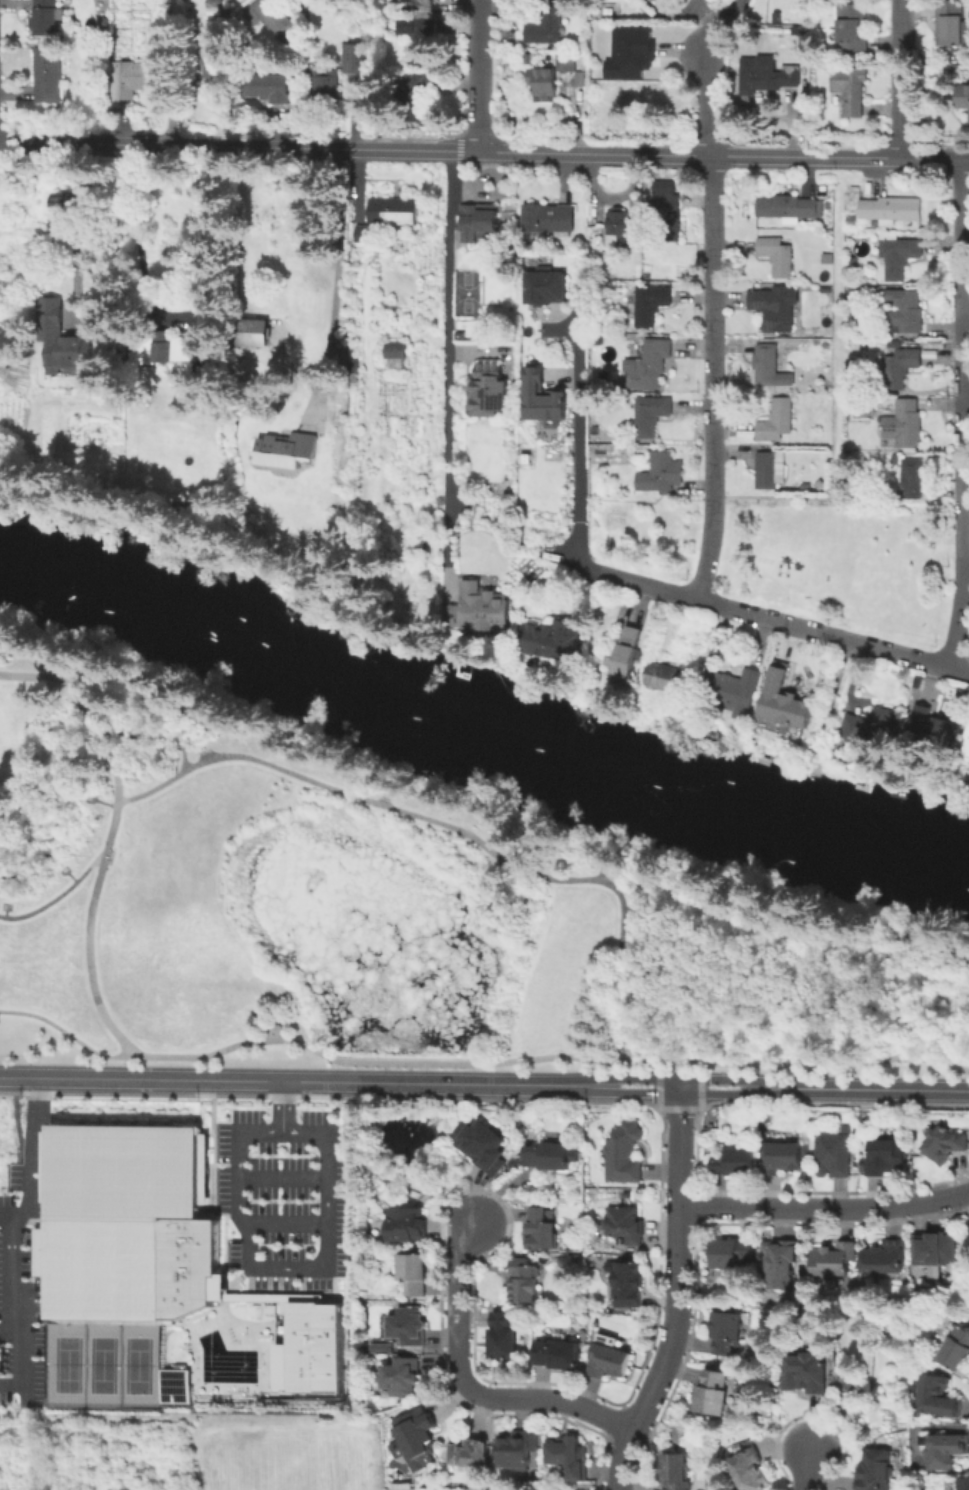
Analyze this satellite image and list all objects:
building: (632, 1)
building: (421, 2)
building: (217, 4)
building: (47, 18)
building: (274, 18)
building: (950, 24)
building: (546, 25)
building: (853, 27)
building: (421, 37)
building: (633, 57)
building: (355, 59)
building: (215, 62)
building: (47, 75)
road: (480, 77)
road: (901, 79)
building: (550, 80)
building: (777, 80)
building: (134, 81)
building: (268, 89)
building: (851, 91)
building: (329, 94)
building: (417, 97)
building: (964, 97)
road: (711, 106)
road: (484, 154)
building: (60, 203)
building: (669, 205)
building: (789, 210)
building: (891, 212)
building: (396, 213)
building: (853, 220)
building: (550, 221)
building: (483, 224)
road: (74, 229)
building: (619, 229)
building: (367, 237)
building: (900, 257)
building: (778, 258)
building: (853, 265)
road: (340, 280)
building: (548, 288)
building: (854, 296)
building: (651, 306)
building: (779, 310)
building: (906, 312)
building: (210, 320)
building: (257, 335)
building: (64, 342)
building: (161, 347)
building: (397, 352)
road: (448, 361)
building: (652, 366)
building: (767, 366)
building: (903, 368)
road: (713, 380)
building: (489, 392)
building: (541, 399)
road: (964, 414)
building: (652, 417)
building: (775, 424)
building: (906, 425)
building: (289, 452)
building: (767, 473)
building: (660, 474)
building: (913, 481)
park: (845, 560)
road: (651, 587)
river: (146, 595)
building: (483, 612)
building: (557, 641)
building: (629, 653)
road: (54, 675)
building: (666, 679)
building: (733, 693)
building: (787, 704)
road: (831, 710)
road: (180, 714)
park: (830, 714)
road: (225, 722)
building: (870, 727)
road: (193, 728)
building: (933, 728)
road: (100, 733)
building: (966, 746)
road: (183, 750)
river: (628, 758)
road: (351, 761)
road: (300, 775)
road: (387, 790)
road: (93, 793)
road: (105, 802)
road: (64, 864)
road: (600, 866)
road: (527, 872)
road: (71, 877)
road: (221, 894)
road: (57, 895)
road: (649, 903)
road: (712, 905)
road: (10, 906)
road: (632, 908)
park: (390, 914)
road: (4, 915)
road: (86, 930)
road: (904, 938)
road: (942, 946)
road: (846, 953)
road: (616, 962)
road: (528, 969)
road: (650, 973)
road: (626, 982)
road: (835, 993)
road: (866, 1034)
road: (477, 1061)
road: (658, 1063)
road: (699, 1065)
road: (684, 1079)
road: (658, 1080)
road: (699, 1081)
road: (297, 1082)
road: (871, 1089)
road: (683, 1094)
road: (282, 1106)
building: (482, 1147)
building: (946, 1147)
building: (625, 1155)
building: (549, 1157)
building: (834, 1157)
building: (786, 1160)
building: (886, 1160)
building: (736, 1164)
building: (45, 1167)
road: (282, 1177)
road: (327, 1188)
parking lot: (282, 1198)
road: (966, 1205)
road: (824, 1210)
road: (9, 1215)
road: (286, 1223)
building: (127, 1224)
building: (407, 1225)
building: (626, 1225)
building: (541, 1231)
road: (9, 1240)
building: (936, 1251)
building: (731, 1255)
building: (885, 1259)
building: (833, 1261)
building: (780, 1265)
building: (414, 1275)
parking lot: (22, 1280)
building: (525, 1283)
building: (628, 1286)
road: (678, 1290)
building: (409, 1327)
road: (10, 1334)
building: (726, 1334)
building: (504, 1339)
park: (65, 1343)
building: (313, 1347)
building: (384, 1348)
building: (957, 1350)
building: (558, 1356)
building: (609, 1359)
park: (67, 1364)
park: (102, 1364)
park: (136, 1364)
building: (808, 1375)
building: (402, 1379)
road: (12, 1384)
park: (54, 1384)
park: (74, 1385)
building: (173, 1385)
road: (469, 1387)
building: (715, 1394)
building: (939, 1398)
building: (416, 1435)
building: (517, 1452)
building: (946, 1452)
building: (471, 1456)
building: (569, 1458)
road: (806, 1469)
building: (749, 1471)
building: (875, 1471)
building: (676, 1473)
building: (966, 1485)

